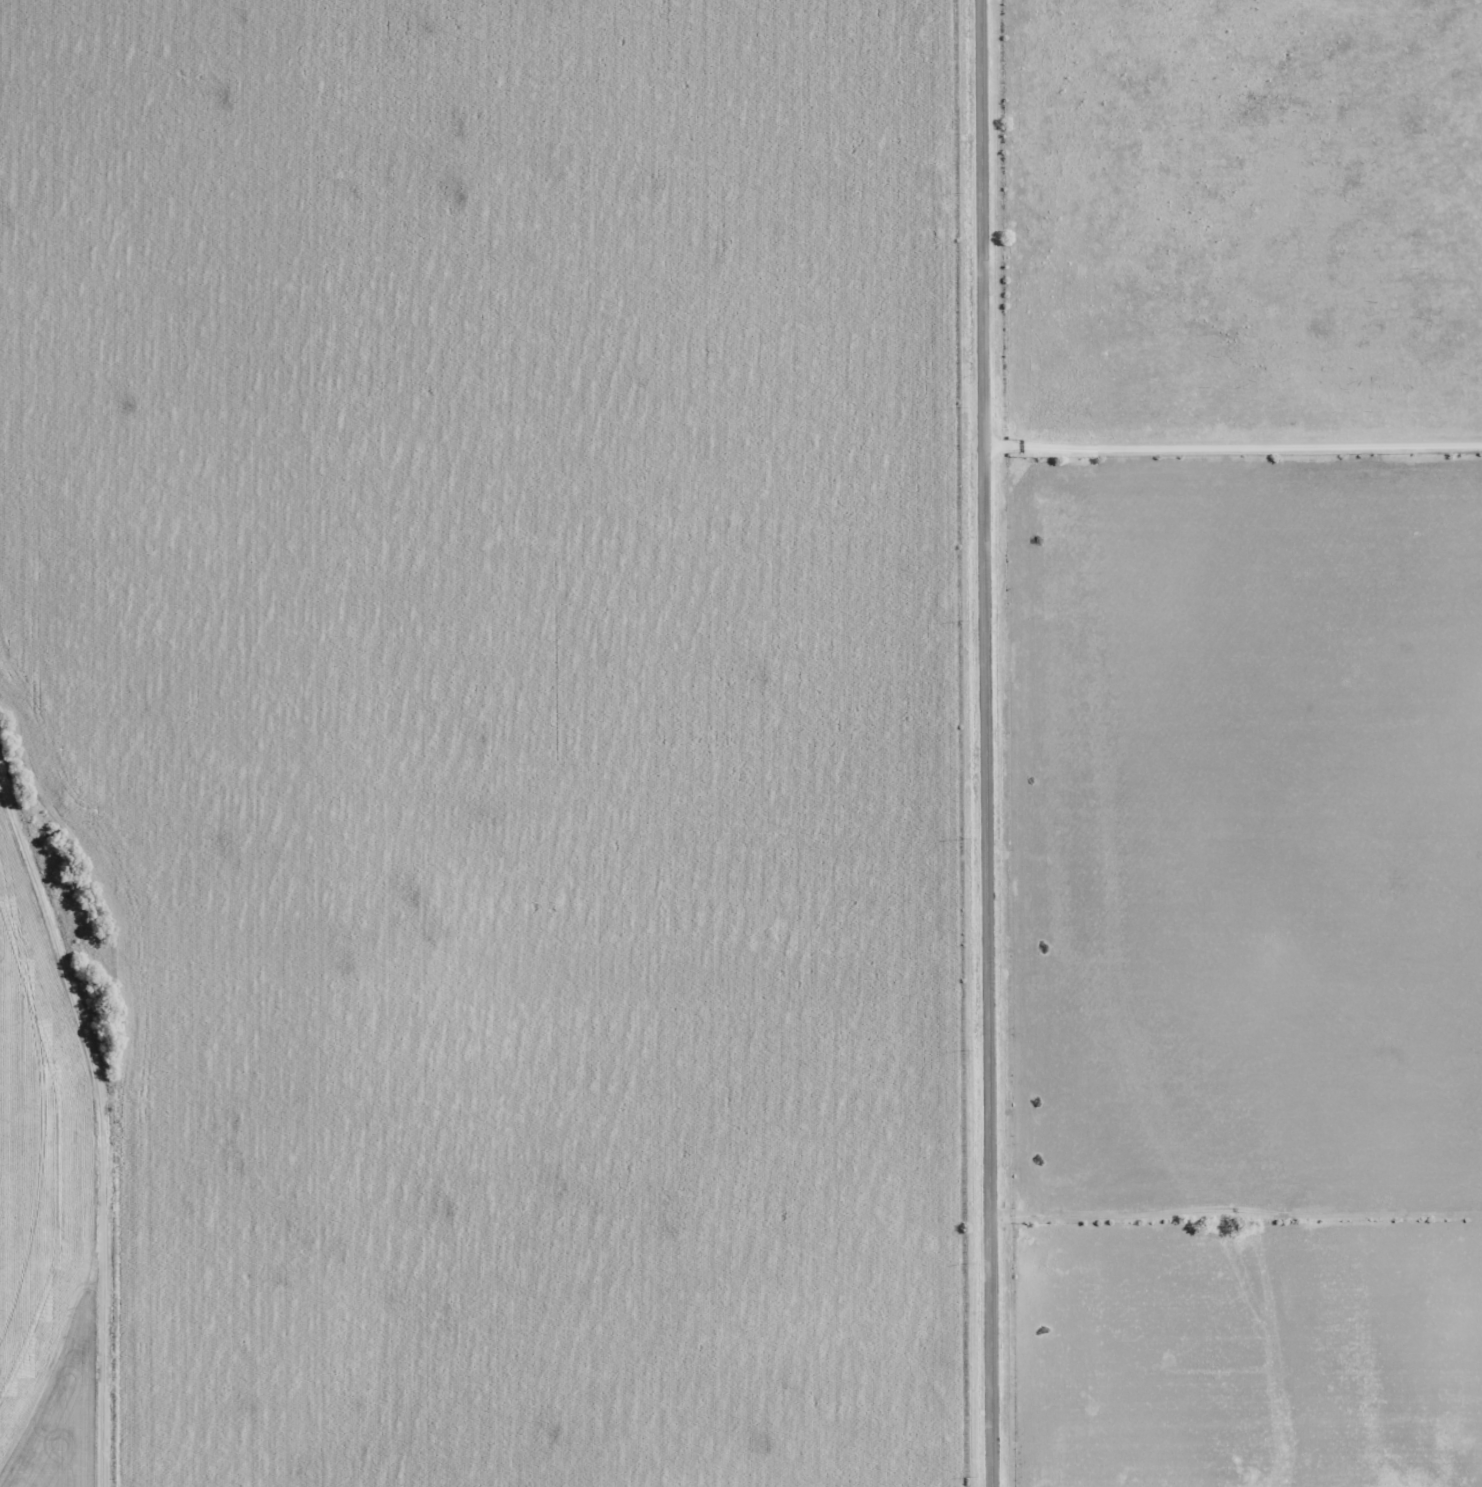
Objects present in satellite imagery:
road: (1232, 454)
road: (985, 743)
road: (95, 1112)

